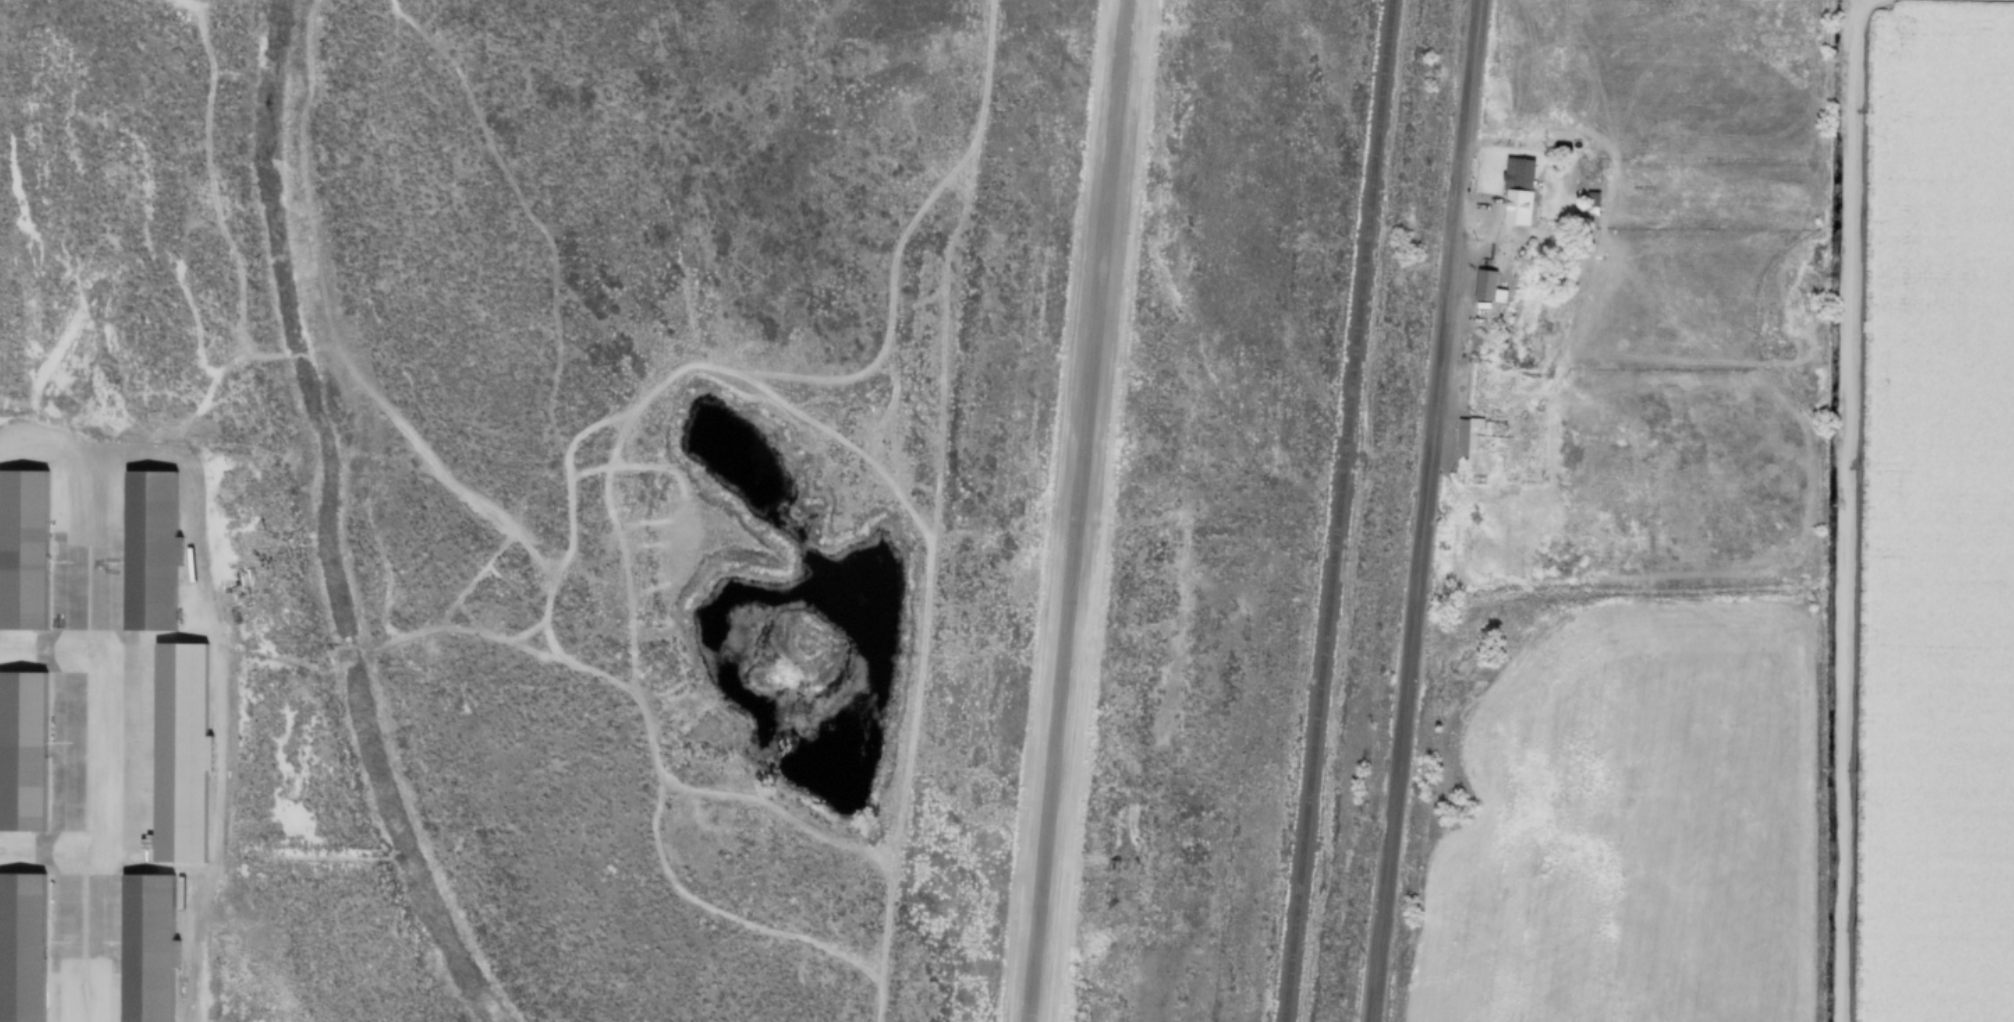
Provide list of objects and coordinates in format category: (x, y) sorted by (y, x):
road: (218, 4)
building: (1517, 174)
road: (1552, 191)
road: (213, 197)
building: (1591, 198)
road: (1497, 200)
road: (898, 247)
building: (1484, 285)
building: (1488, 325)
road: (941, 334)
road: (1503, 403)
road: (639, 405)
building: (1466, 436)
road: (644, 466)
road: (905, 479)
road: (455, 491)
road: (1840, 508)
road: (1422, 510)
airport runway: (1077, 511)
railway: (1337, 511)
building: (146, 547)
road: (621, 547)
building: (20, 548)
road: (401, 636)
road: (220, 645)
road: (537, 654)
road: (41, 656)
road: (82, 735)
building: (19, 749)
building: (179, 751)
road: (779, 812)
road: (109, 858)
building: (20, 947)
building: (141, 947)
road: (876, 1012)

